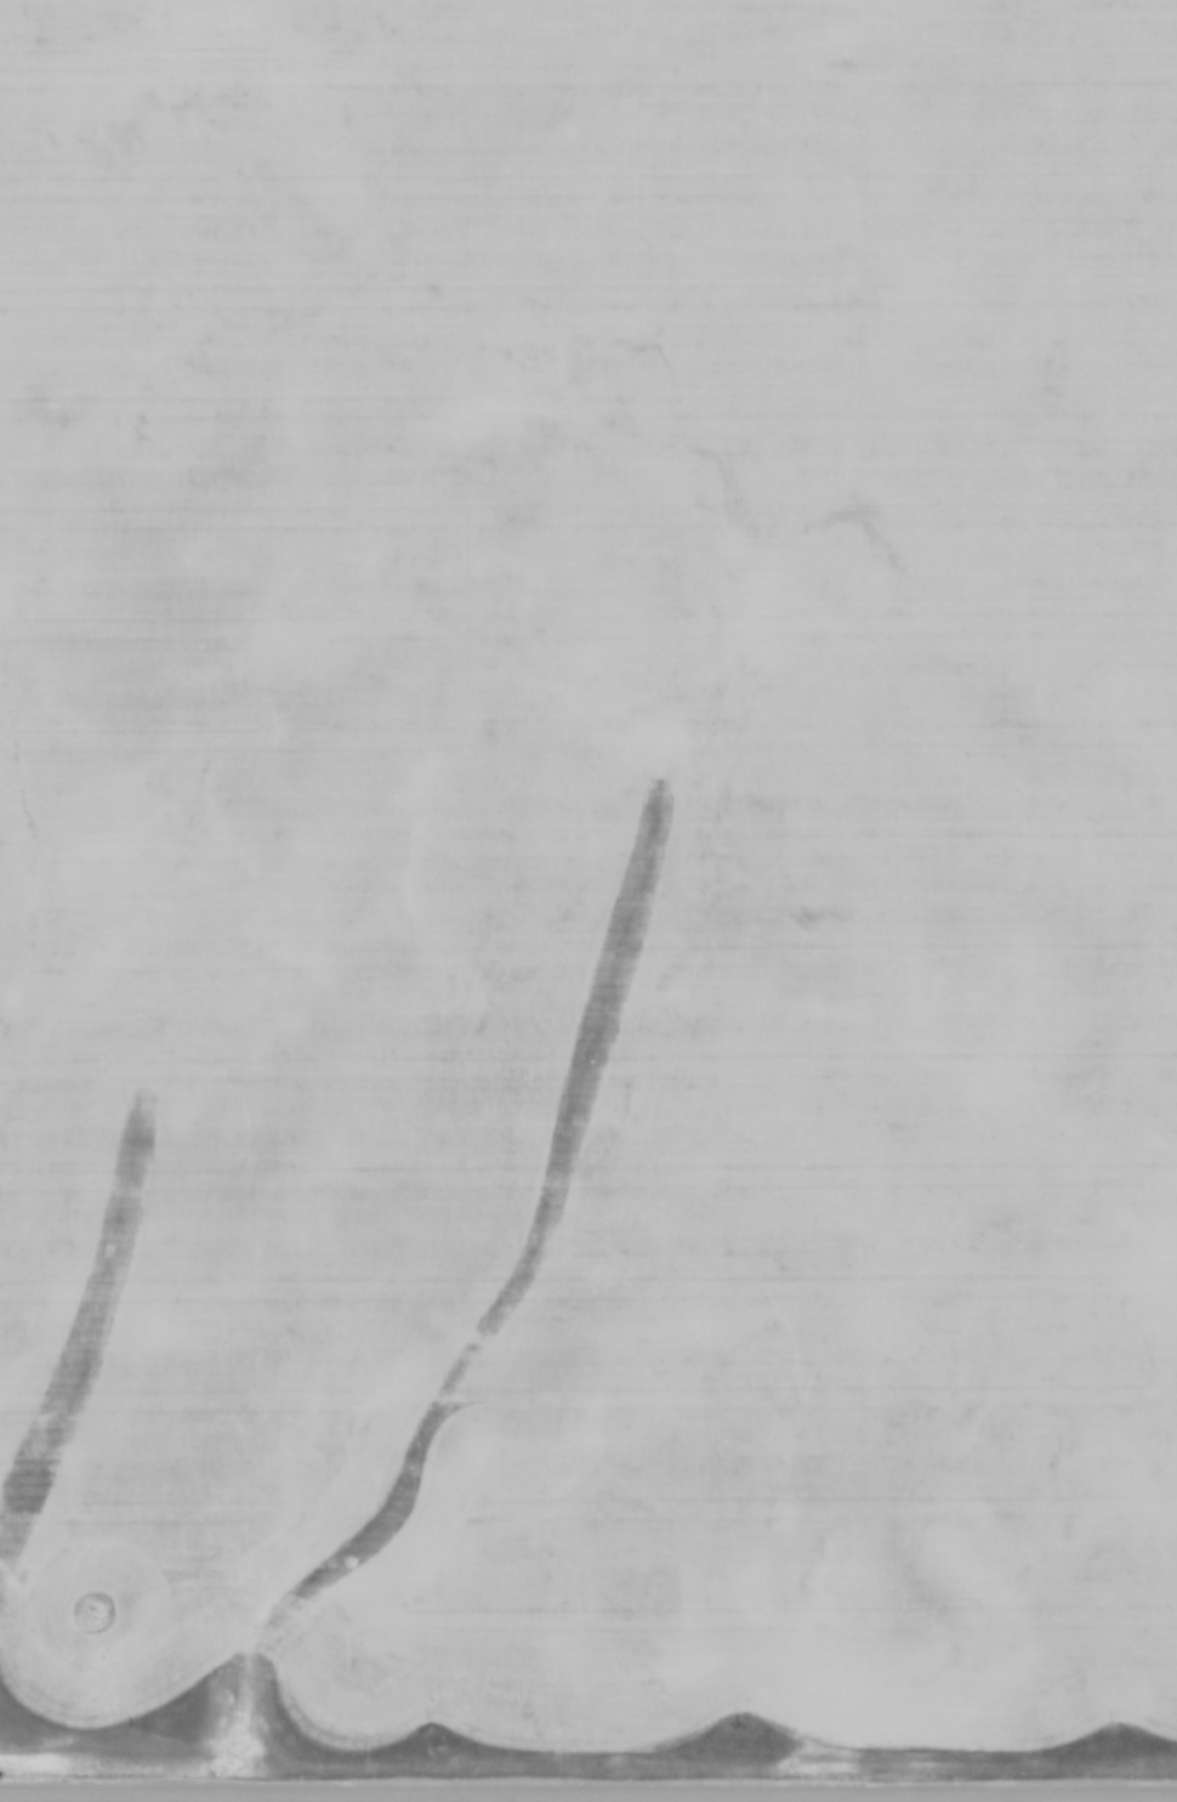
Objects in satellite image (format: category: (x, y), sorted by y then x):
road: (588, 1801)

